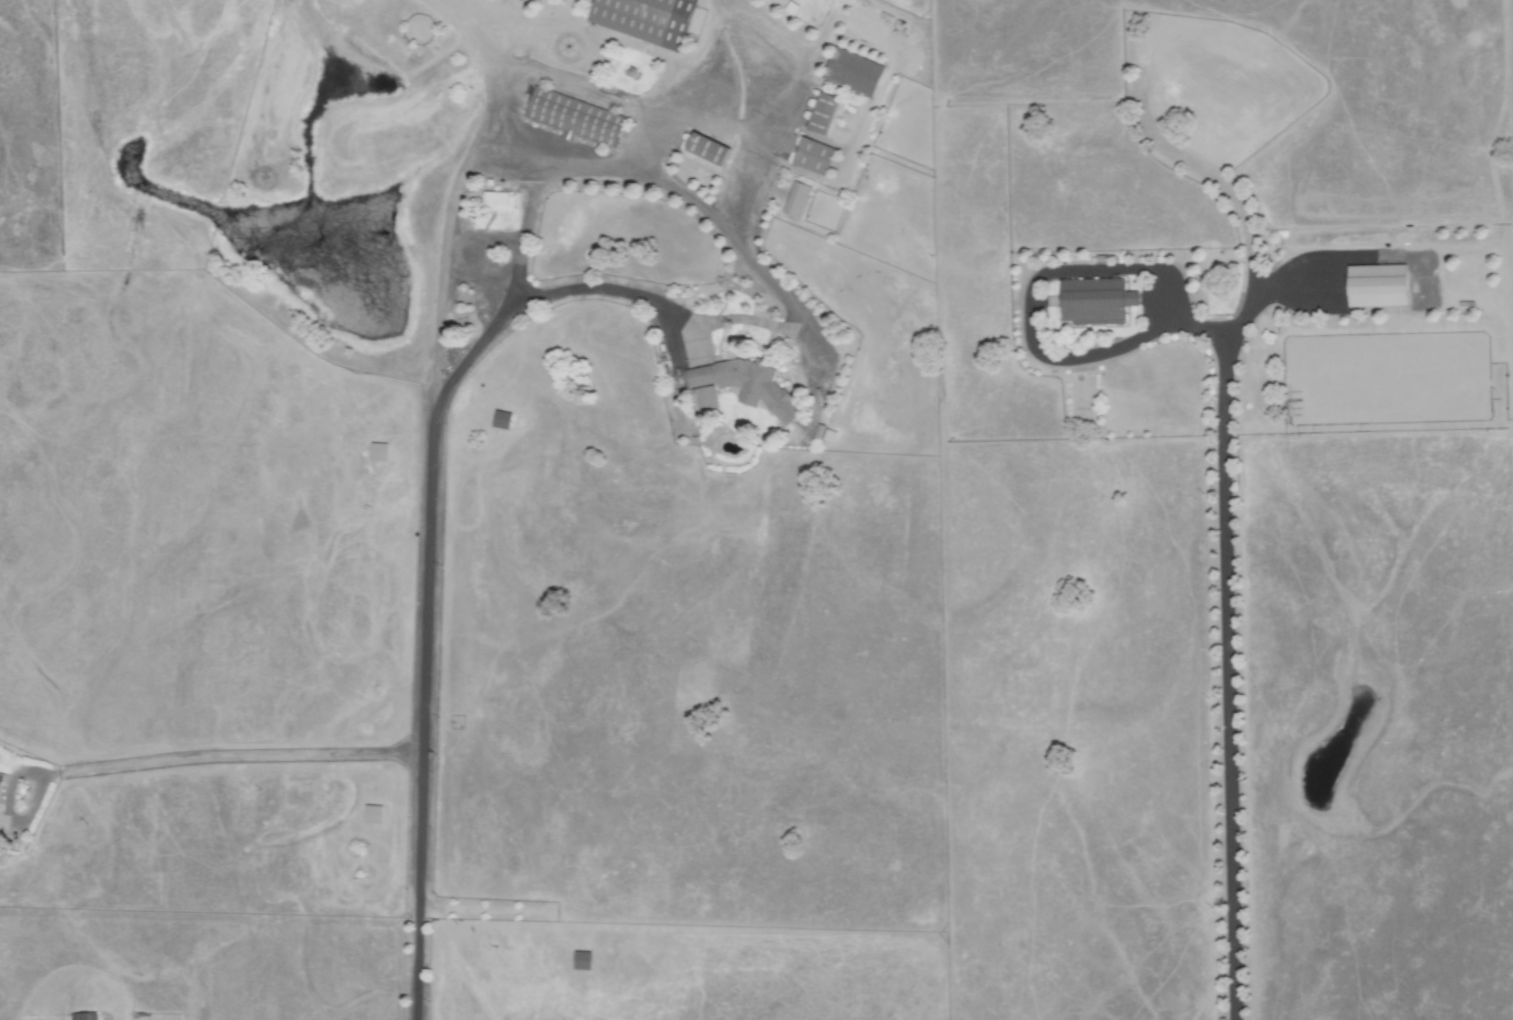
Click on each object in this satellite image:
building: (641, 19)
building: (850, 73)
building: (819, 114)
building: (571, 117)
building: (702, 149)
building: (809, 156)
road: (629, 157)
building: (794, 200)
building: (495, 202)
building: (1373, 286)
road: (533, 297)
building: (1092, 302)
building: (738, 387)
building: (375, 452)
road: (1230, 486)
road: (429, 547)
road: (226, 753)
building: (1, 782)
building: (579, 961)

